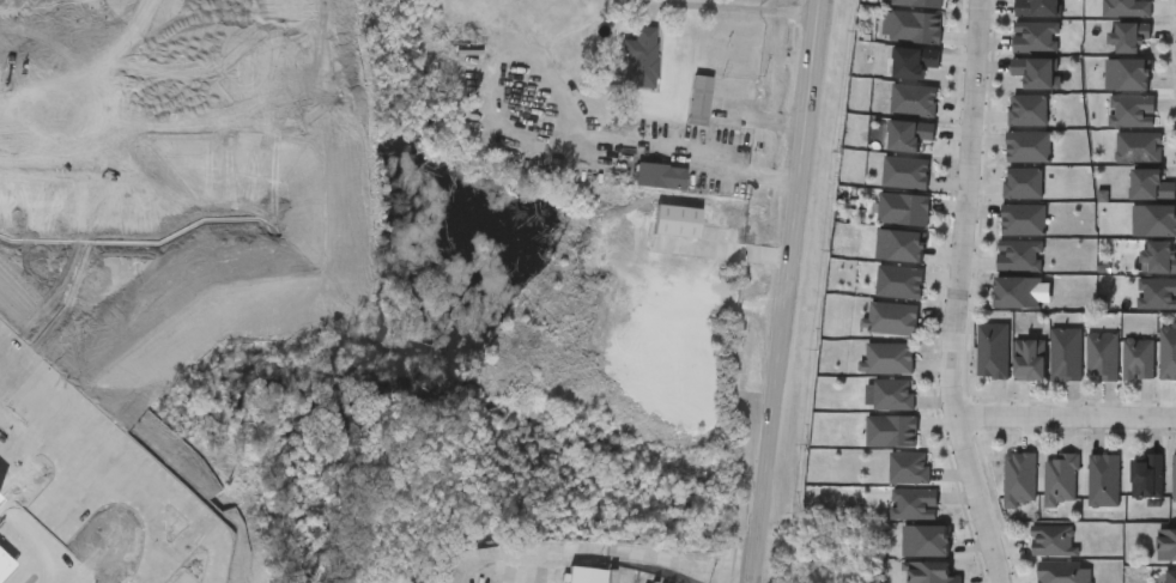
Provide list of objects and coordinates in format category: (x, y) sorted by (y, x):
building: (919, 1)
road: (731, 5)
building: (1038, 8)
building: (1126, 8)
building: (1018, 22)
building: (1104, 23)
building: (916, 24)
building: (1035, 35)
building: (1129, 37)
building: (892, 47)
building: (1014, 56)
building: (1108, 56)
building: (641, 57)
building: (911, 60)
building: (1036, 72)
building: (1128, 75)
building: (619, 77)
building: (893, 81)
building: (1017, 92)
building: (1107, 95)
building: (913, 97)
building: (699, 98)
road: (115, 103)
building: (1028, 110)
building: (1132, 111)
road: (762, 113)
building: (678, 120)
building: (893, 120)
building: (1007, 129)
building: (1111, 130)
building: (907, 133)
building: (1029, 147)
building: (1139, 147)
building: (889, 154)
road: (715, 159)
building: (1007, 166)
building: (1117, 168)
building: (904, 169)
building: (657, 174)
building: (1023, 184)
building: (1152, 186)
building: (885, 193)
building: (638, 195)
building: (1002, 204)
building: (1130, 205)
building: (903, 206)
building: (1023, 220)
building: (1154, 221)
building: (883, 229)
building: (1002, 238)
building: (1135, 239)
building: (898, 242)
building: (1017, 255)
building: (1159, 259)
building: (879, 265)
building: (999, 275)
building: (897, 278)
building: (1140, 278)
road: (788, 291)
road: (953, 293)
building: (1017, 293)
building: (1156, 294)
building: (879, 302)
building: (996, 311)
building: (1140, 314)
building: (893, 320)
building: (871, 338)
building: (990, 351)
building: (1169, 352)
building: (1065, 354)
building: (1101, 356)
building: (890, 359)
building: (1138, 359)
building: (1028, 360)
building: (971, 370)
building: (1154, 371)
building: (1044, 374)
building: (1081, 375)
building: (867, 377)
building: (1117, 378)
building: (1008, 379)
building: (893, 390)
building: (872, 414)
road: (1066, 420)
building: (892, 431)
road: (115, 447)
building: (871, 450)
building: (909, 468)
building: (1146, 478)
building: (1018, 480)
building: (1059, 480)
building: (1102, 480)
building: (1174, 482)
building: (887, 487)
building: (1127, 497)
building: (999, 498)
building: (913, 499)
building: (1039, 499)
building: (1083, 499)
building: (893, 523)
road: (202, 529)
building: (925, 536)
road: (24, 539)
building: (1050, 540)
road: (629, 543)
building: (1168, 546)
road: (174, 554)
building: (904, 559)
building: (1031, 560)
road: (46, 564)
building: (932, 572)
building: (1061, 572)
building: (583, 575)
building: (1170, 576)
road: (216, 579)

